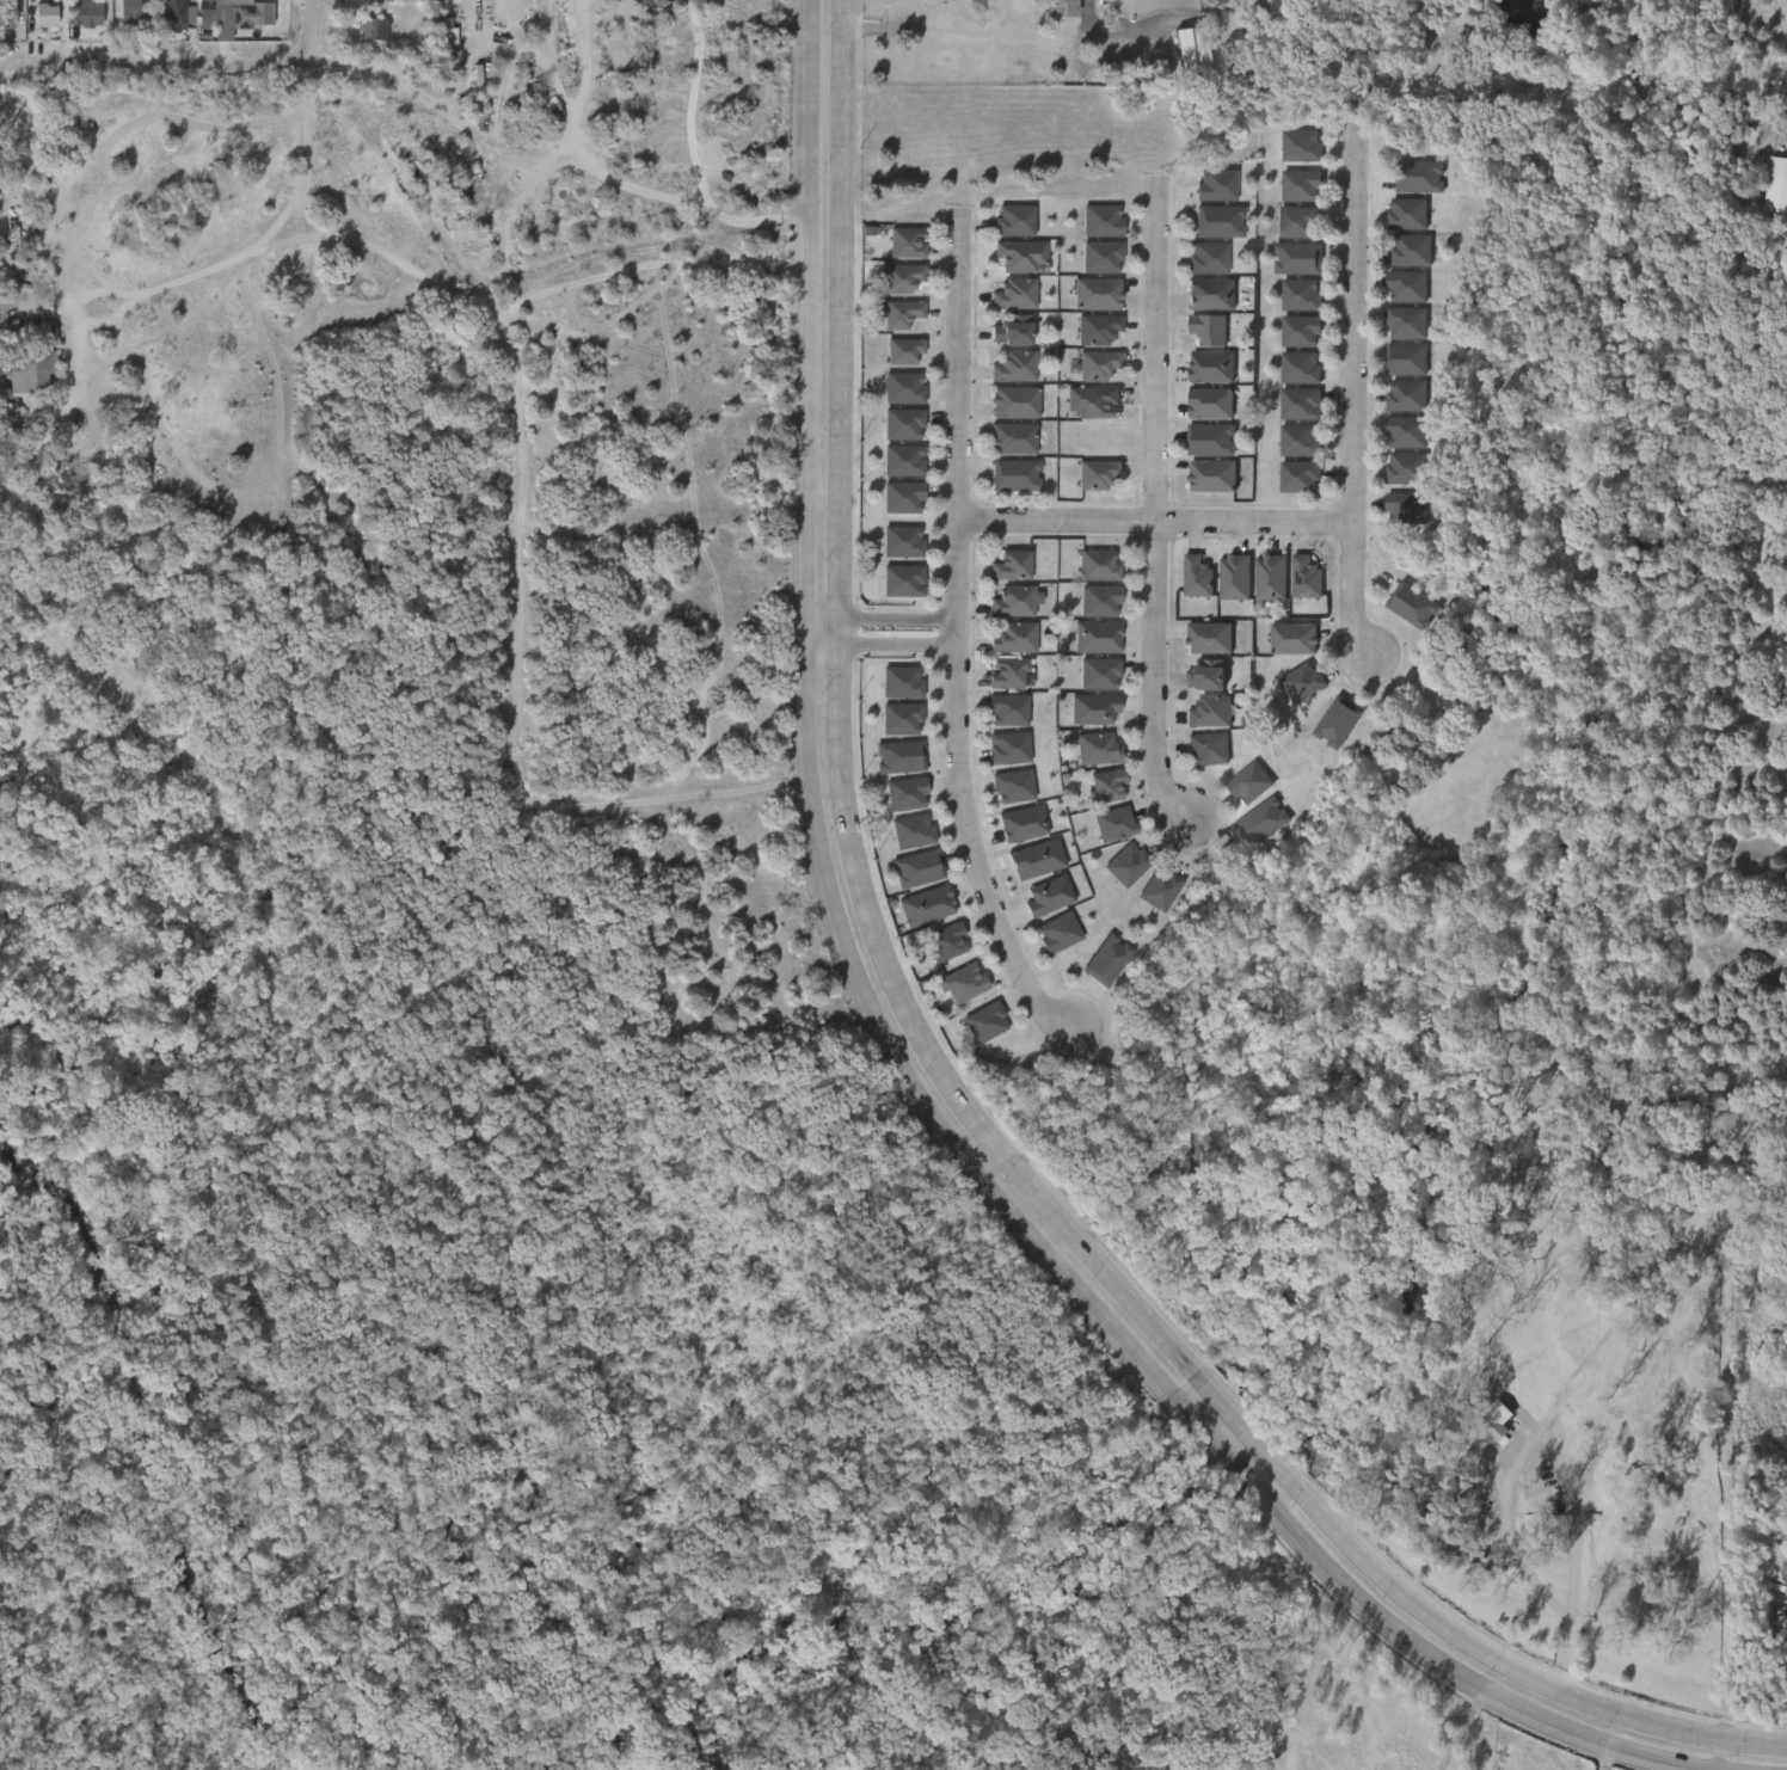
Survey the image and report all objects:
building: (411, 5)
building: (130, 12)
building: (85, 16)
road: (320, 16)
building: (178, 17)
building: (228, 17)
building: (122, 20)
building: (37, 25)
building: (2, 26)
building: (371, 27)
road: (954, 31)
building: (362, 38)
building: (1181, 60)
road: (172, 72)
road: (583, 78)
road: (693, 105)
road: (1562, 107)
building: (1300, 147)
road: (558, 154)
building: (1418, 177)
building: (1214, 186)
building: (1300, 188)
building: (1769, 204)
building: (1406, 215)
building: (1014, 221)
building: (1101, 222)
building: (1218, 223)
building: (1297, 223)
building: (905, 242)
building: (897, 252)
building: (1410, 252)
building: (1101, 259)
building: (1208, 259)
building: (1296, 260)
building: (1009, 265)
building: (902, 276)
building: (891, 288)
building: (1405, 289)
building: (1017, 293)
building: (1098, 293)
building: (1300, 296)
building: (1086, 303)
building: (1200, 303)
building: (902, 312)
building: (892, 324)
building: (1405, 325)
building: (1098, 327)
building: (1014, 328)
building: (1209, 328)
building: (1300, 333)
building: (1001, 339)
building: (1197, 339)
building: (904, 350)
building: (893, 361)
building: (1404, 361)
building: (1099, 364)
building: (1015, 365)
building: (1298, 369)
building: (30, 370)
building: (1200, 376)
building: (903, 391)
road: (1353, 397)
building: (1404, 398)
building: (1015, 401)
building: (1211, 402)
building: (1298, 405)
building: (1003, 412)
building: (1082, 412)
building: (1199, 413)
building: (902, 426)
building: (1402, 434)
building: (1013, 437)
building: (1210, 442)
building: (1298, 442)
building: (1002, 448)
building: (902, 462)
building: (1404, 469)
building: (1099, 473)
building: (1212, 475)
building: (1013, 477)
building: (1298, 479)
building: (901, 499)
road: (1156, 509)
building: (1401, 509)
road: (1156, 522)
building: (902, 543)
building: (1013, 565)
building: (1098, 565)
building: (1001, 576)
building: (1087, 576)
building: (1197, 576)
building: (1235, 577)
building: (1271, 577)
building: (1307, 577)
building: (902, 583)
building: (1186, 586)
building: (1294, 586)
building: (1223, 588)
building: (1259, 588)
building: (1014, 601)
building: (1099, 602)
building: (1413, 604)
building: (1401, 615)
road: (890, 620)
road: (827, 629)
building: (1015, 637)
building: (1210, 637)
road: (959, 638)
building: (1294, 638)
road: (913, 645)
building: (1087, 646)
building: (1199, 647)
building: (1282, 649)
building: (1008, 672)
building: (1209, 675)
building: (1099, 676)
building: (902, 683)
building: (1301, 683)
building: (1196, 684)
building: (1210, 712)
building: (1007, 713)
building: (1083, 718)
building: (902, 720)
building: (1334, 725)
building: (1098, 748)
building: (1008, 750)
building: (1206, 750)
building: (899, 758)
building: (1087, 758)
building: (1247, 785)
building: (1106, 786)
building: (1012, 788)
building: (905, 795)
building: (1116, 823)
building: (1260, 823)
building: (913, 832)
building: (1013, 832)
building: (1104, 832)
building: (1124, 865)
building: (1026, 868)
building: (917, 869)
building: (1157, 890)
building: (1038, 905)
building: (916, 915)
building: (1057, 934)
building: (947, 941)
building: (1106, 960)
building: (963, 984)
building: (983, 1024)
road: (902, 1067)
road: (954, 1081)
building: (1485, 1430)
road: (1459, 1731)
road: (1595, 1757)

